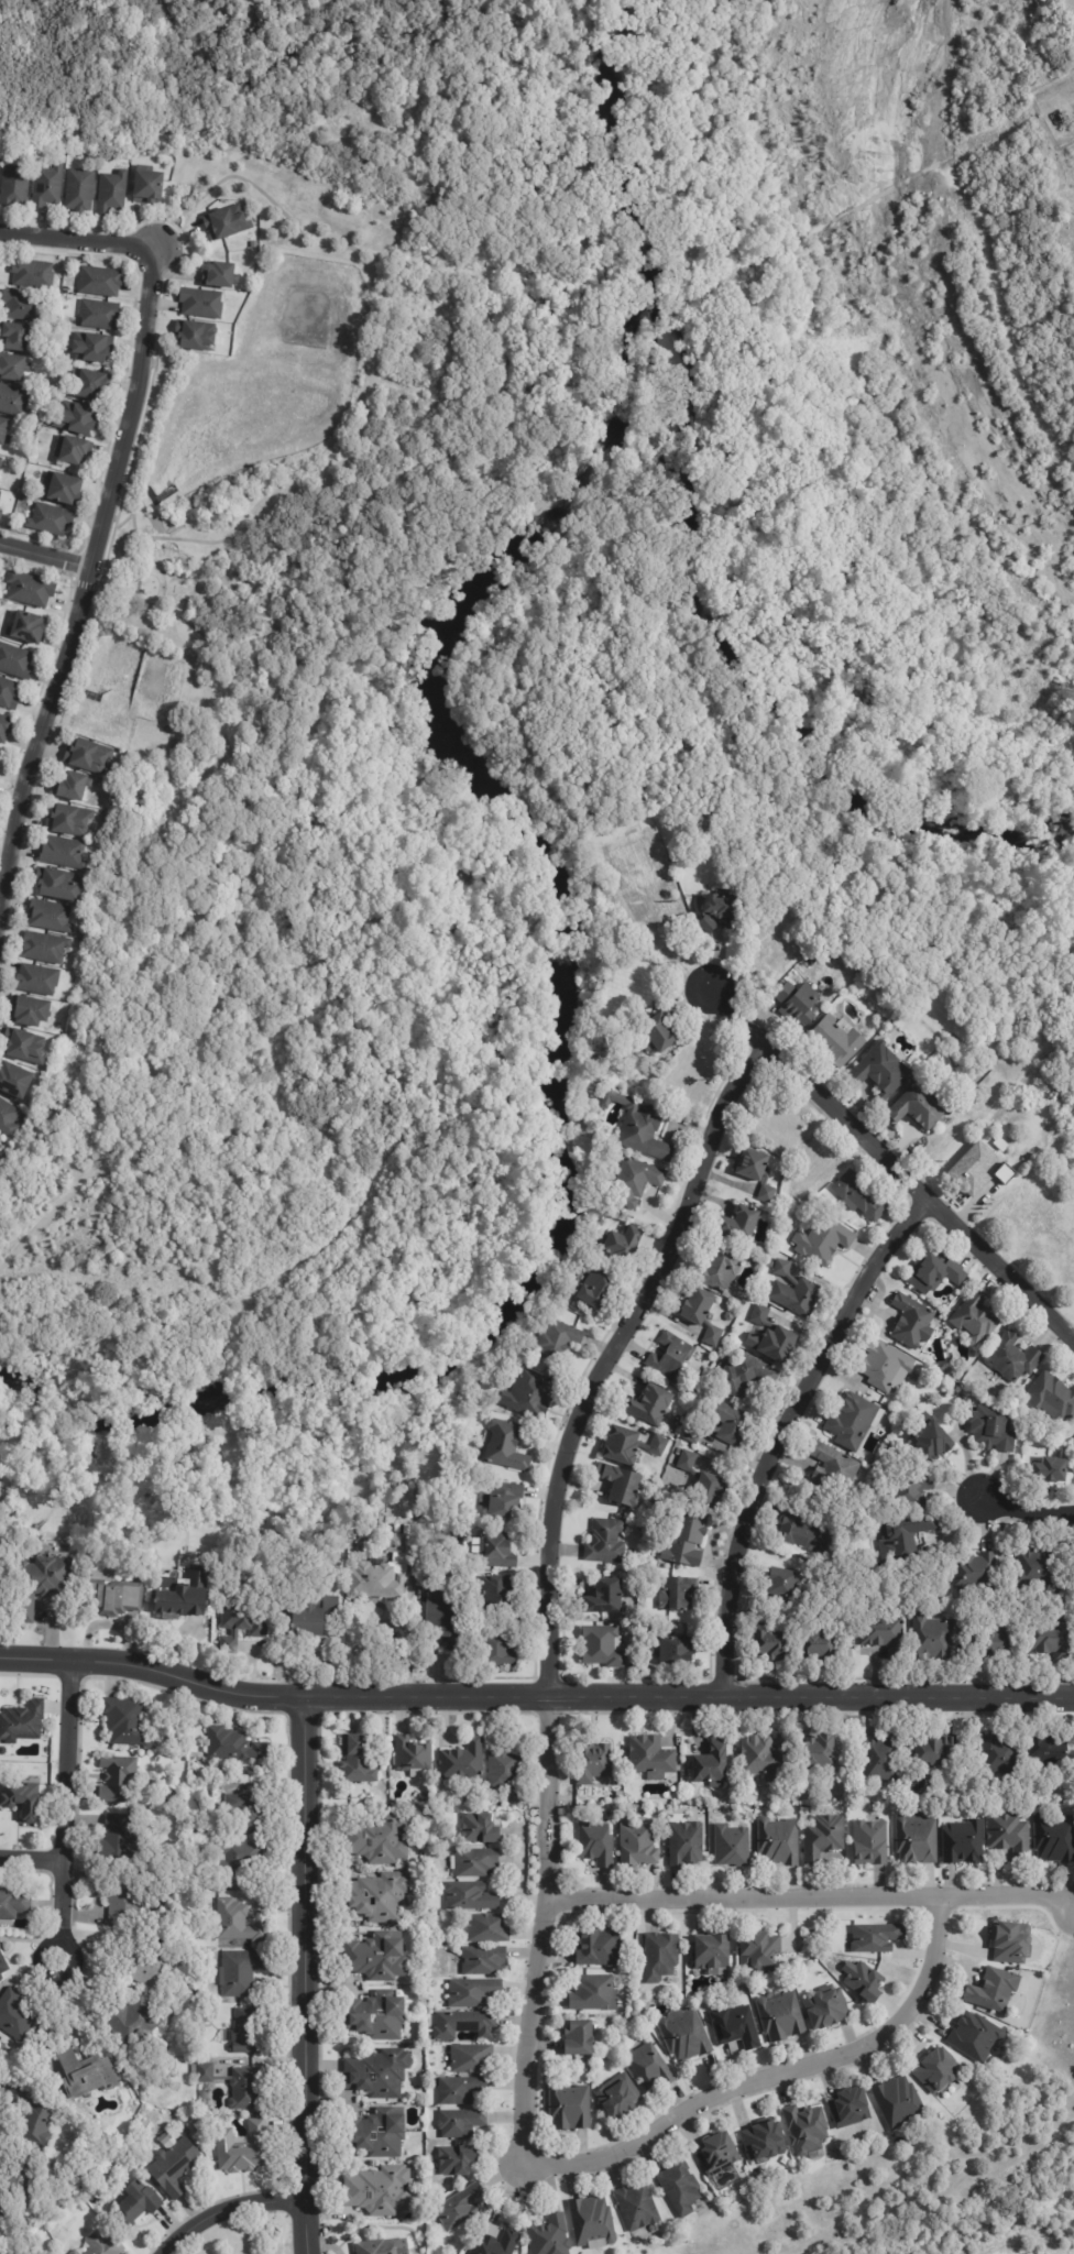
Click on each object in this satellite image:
building: (14, 186)
building: (47, 187)
building: (149, 188)
building: (80, 190)
building: (112, 194)
building: (227, 225)
park: (417, 237)
road: (77, 240)
building: (32, 274)
building: (220, 277)
building: (100, 283)
building: (201, 305)
building: (24, 307)
building: (99, 316)
building: (196, 337)
building: (15, 339)
building: (92, 349)
building: (13, 369)
building: (92, 387)
building: (13, 402)
building: (78, 423)
building: (4, 434)
building: (75, 453)
building: (0, 459)
building: (1, 466)
building: (64, 492)
building: (0, 493)
building: (0, 496)
building: (1, 516)
building: (51, 522)
road: (45, 555)
road: (87, 577)
building: (31, 589)
road: (141, 609)
building: (28, 627)
building: (15, 661)
building: (9, 693)
building: (6, 729)
building: (88, 756)
building: (73, 787)
building: (69, 820)
building: (64, 853)
building: (662, 882)
building: (774, 884)
building: (59, 885)
park: (292, 891)
building: (721, 912)
building: (51, 917)
building: (770, 947)
building: (44, 949)
building: (39, 981)
building: (638, 982)
building: (800, 999)
building: (30, 1011)
building: (658, 1036)
building: (839, 1039)
building: (24, 1047)
building: (694, 1069)
building: (881, 1070)
building: (14, 1081)
building: (919, 1107)
building: (8, 1118)
building: (778, 1123)
building: (640, 1129)
building: (1002, 1145)
building: (0, 1148)
road: (886, 1163)
building: (812, 1167)
building: (973, 1169)
building: (757, 1172)
building: (1006, 1174)
building: (637, 1182)
building: (861, 1195)
building: (802, 1218)
building: (739, 1224)
building: (824, 1239)
building: (626, 1241)
building: (771, 1265)
building: (722, 1270)
building: (938, 1272)
building: (598, 1288)
building: (794, 1292)
building: (702, 1314)
building: (760, 1314)
building: (730, 1316)
building: (978, 1319)
building: (912, 1322)
building: (560, 1339)
building: (774, 1343)
building: (672, 1357)
building: (1015, 1357)
building: (886, 1367)
building: (745, 1376)
building: (529, 1394)
building: (1053, 1398)
building: (650, 1404)
building: (855, 1421)
building: (723, 1424)
building: (670, 1427)
building: (994, 1430)
road: (787, 1435)
building: (932, 1437)
building: (1073, 1441)
building: (624, 1444)
building: (507, 1446)
building: (660, 1446)
building: (689, 1460)
building: (873, 1464)
building: (1051, 1469)
building: (831, 1473)
building: (621, 1484)
building: (910, 1488)
building: (710, 1490)
building: (508, 1500)
road: (1027, 1512)
building: (945, 1516)
building: (802, 1531)
building: (869, 1532)
building: (906, 1539)
building: (689, 1540)
building: (606, 1542)
building: (442, 1546)
building: (500, 1551)
building: (1037, 1571)
building: (383, 1572)
building: (976, 1572)
road: (557, 1579)
building: (41, 1583)
building: (786, 1583)
building: (184, 1594)
building: (498, 1594)
building: (678, 1594)
building: (114, 1597)
building: (606, 1597)
building: (1038, 1599)
building: (938, 1609)
building: (315, 1617)
building: (446, 1620)
building: (243, 1621)
building: (883, 1634)
building: (933, 1635)
building: (1051, 1638)
building: (995, 1641)
building: (771, 1642)
building: (820, 1643)
building: (602, 1646)
building: (496, 1650)
building: (675, 1650)
road: (535, 1697)
building: (125, 1720)
building: (22, 1722)
building: (231, 1746)
building: (933, 1751)
building: (971, 1751)
building: (1051, 1751)
building: (412, 1754)
building: (819, 1754)
building: (998, 1754)
building: (650, 1757)
building: (878, 1758)
building: (359, 1759)
building: (763, 1759)
building: (463, 1762)
building: (592, 1762)
building: (713, 1763)
building: (505, 1770)
building: (119, 1779)
building: (172, 1796)
building: (24, 1801)
road: (70, 1810)
building: (248, 1815)
building: (481, 1829)
building: (1010, 1836)
building: (824, 1837)
building: (1055, 1838)
building: (375, 1840)
building: (119, 1841)
building: (918, 1841)
building: (780, 1842)
building: (964, 1842)
building: (596, 1843)
building: (686, 1843)
building: (870, 1843)
building: (638, 1845)
building: (733, 1846)
building: (237, 1857)
building: (475, 1863)
road: (34, 1864)
building: (470, 1896)
building: (125, 1897)
building: (376, 1897)
road: (810, 1899)
building: (13, 1904)
building: (237, 1923)
building: (486, 1928)
building: (878, 1938)
building: (1012, 1944)
building: (599, 1949)
building: (760, 1951)
building: (713, 1952)
building: (661, 1957)
building: (376, 1958)
building: (485, 1960)
building: (3, 1966)
building: (145, 1969)
building: (241, 1972)
building: (642, 1972)
road: (308, 1979)
building: (865, 1981)
building: (996, 1991)
building: (474, 1993)
building: (595, 1994)
building: (828, 2010)
building: (17, 2016)
building: (375, 2016)
building: (782, 2018)
building: (131, 2023)
building: (464, 2025)
building: (736, 2027)
building: (250, 2032)
building: (686, 2035)
building: (977, 2037)
building: (581, 2038)
building: (472, 2059)
building: (650, 2068)
building: (940, 2071)
building: (379, 2074)
building: (85, 2075)
road: (778, 2079)
building: (239, 2086)
building: (462, 2090)
building: (620, 2098)
building: (900, 2103)
building: (571, 2108)
building: (851, 2109)
building: (29, 2118)
building: (219, 2123)
building: (461, 2123)
building: (808, 2130)
building: (375, 2134)
building: (766, 2143)
building: (244, 2149)
building: (719, 2155)
building: (458, 2162)
building: (175, 2168)
building: (23, 2176)
building: (681, 2188)
building: (380, 2191)
building: (138, 2204)
building: (461, 2209)
building: (637, 2209)
road: (234, 2219)
building: (593, 2224)
building: (705, 2228)
building: (550, 2236)
building: (497, 2244)
building: (105, 2245)
building: (385, 2247)
building: (75, 2253)

